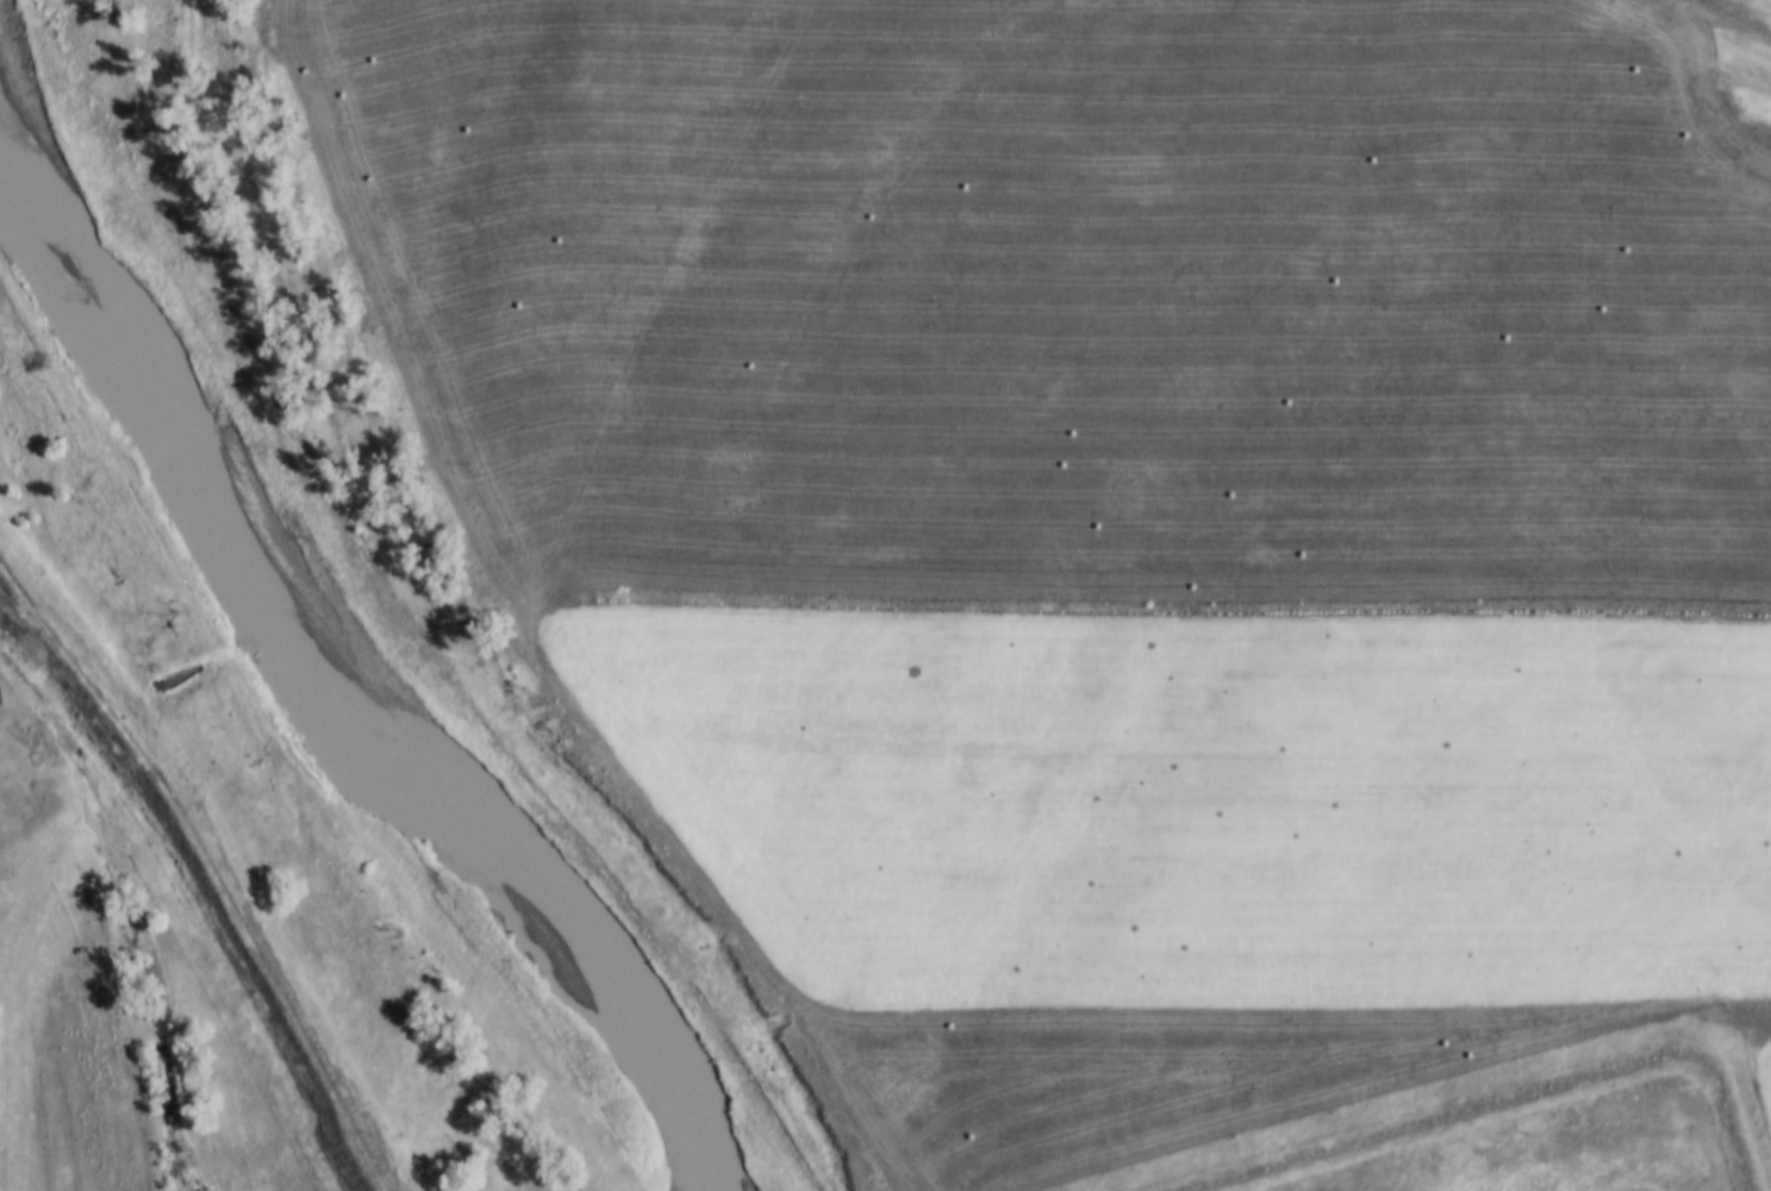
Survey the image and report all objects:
river: (303, 667)
road: (1497, 1096)

